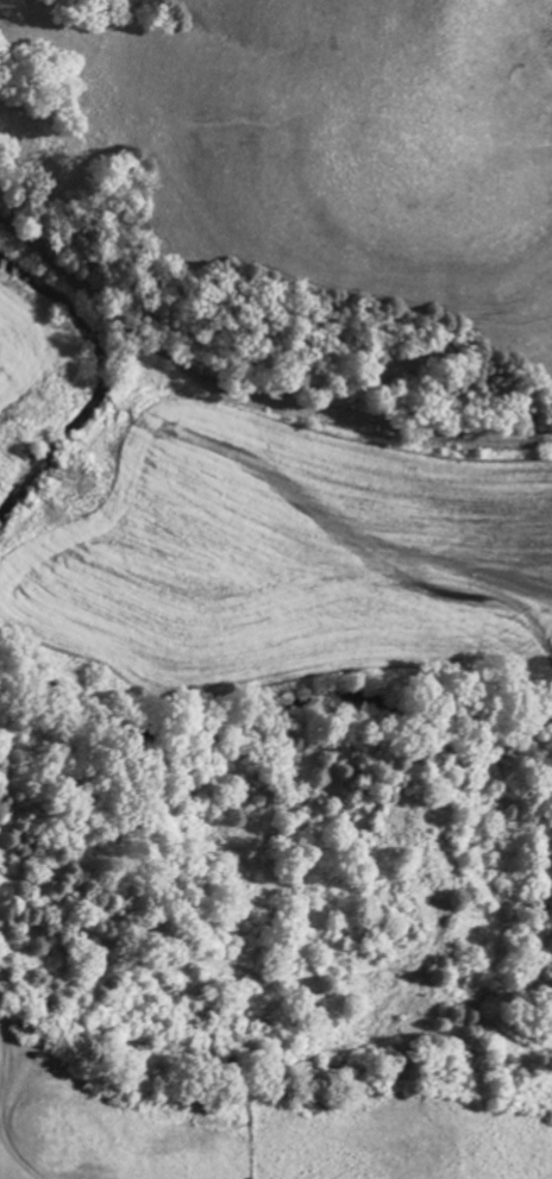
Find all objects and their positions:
road: (13, 1162)

